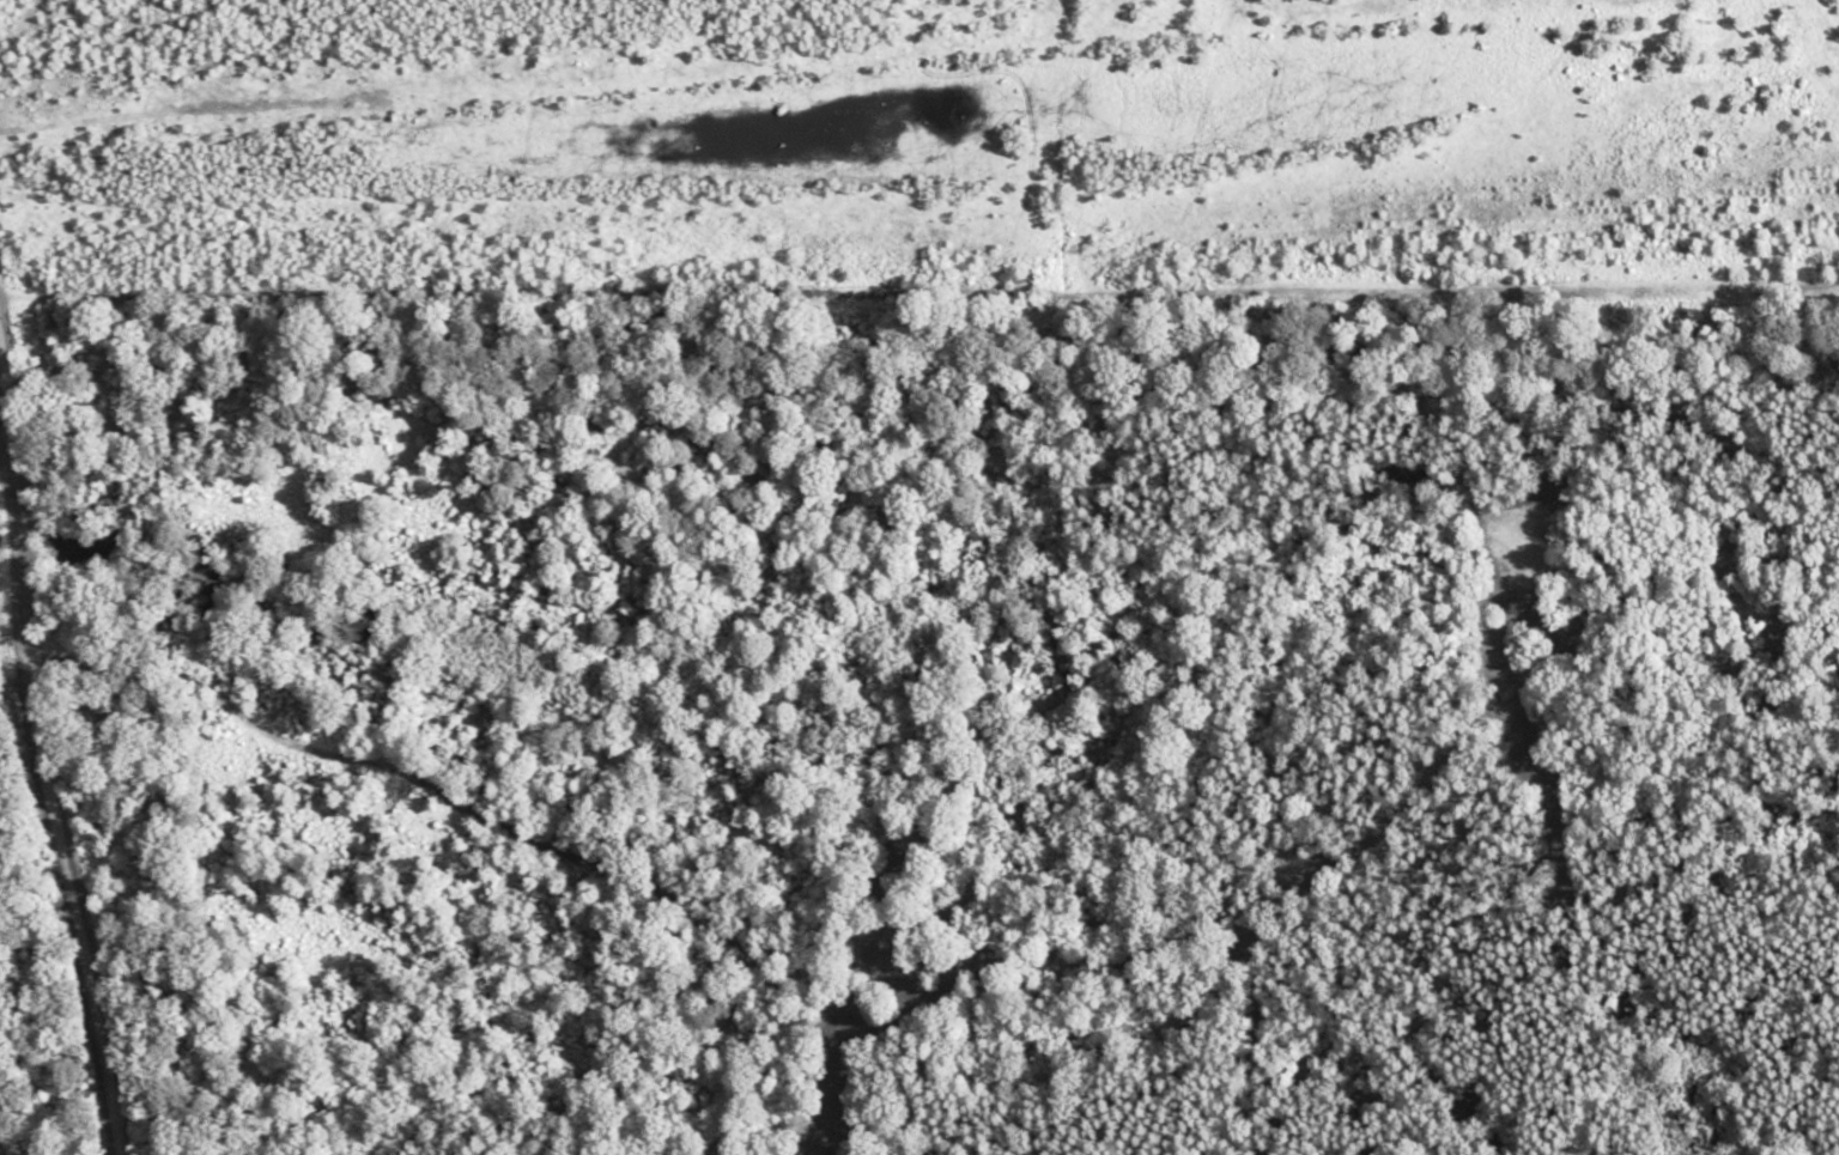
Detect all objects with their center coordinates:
road: (47, 761)

